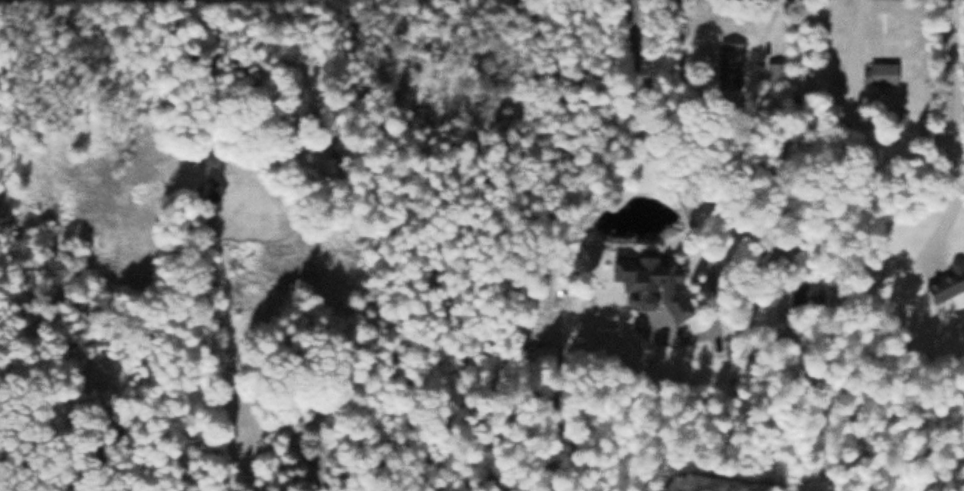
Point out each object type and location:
building: (730, 61)
building: (775, 70)
building: (879, 72)
building: (897, 117)
building: (322, 168)
building: (207, 190)
building: (946, 281)
building: (650, 283)
building: (799, 293)

